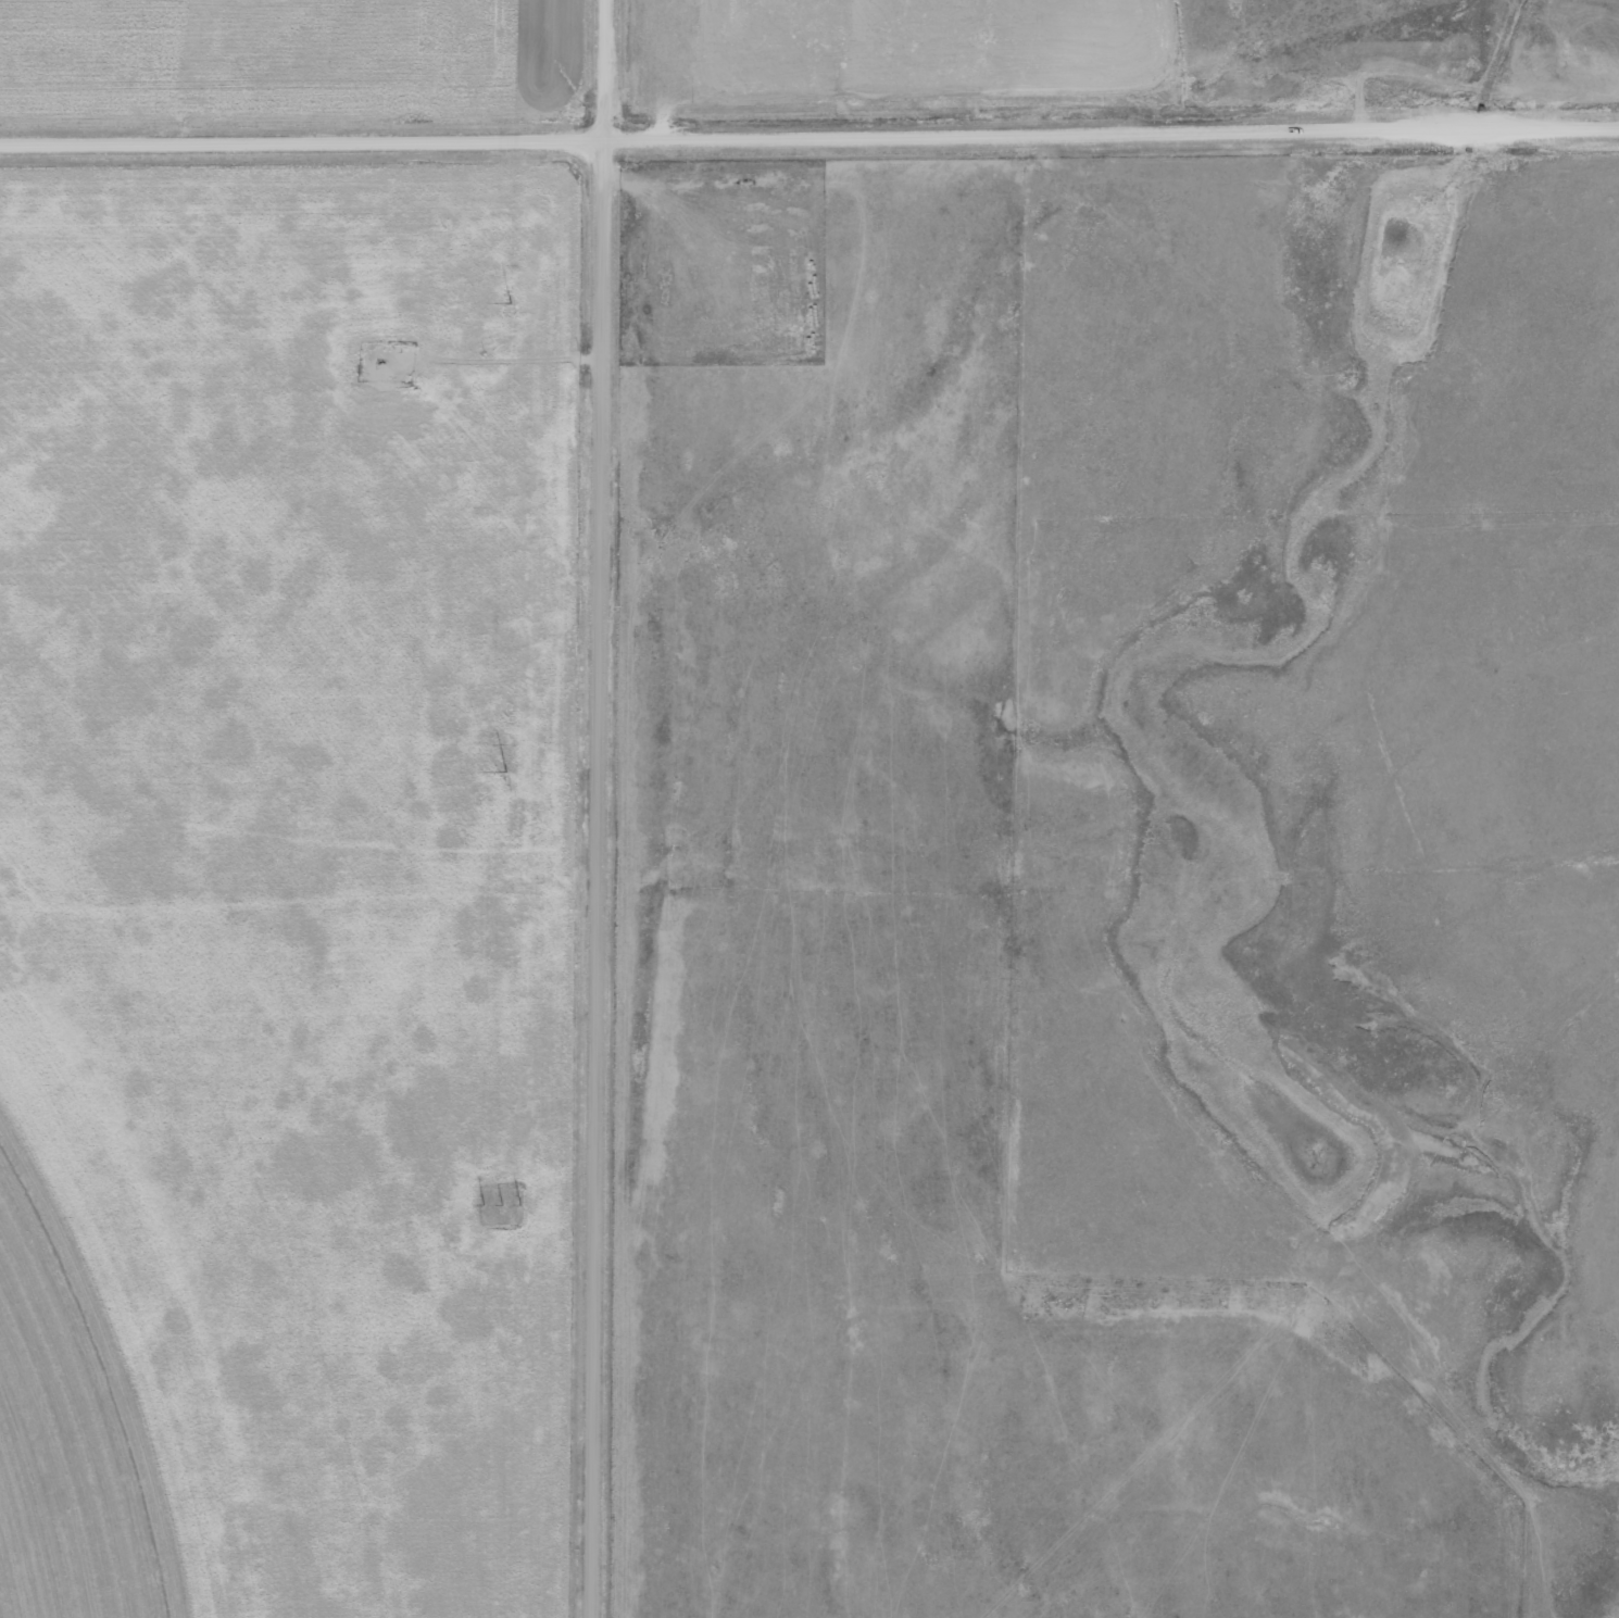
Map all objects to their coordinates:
road: (808, 134)
power tower: (509, 303)
power tower: (503, 773)
road: (603, 808)
power tower: (501, 1206)

